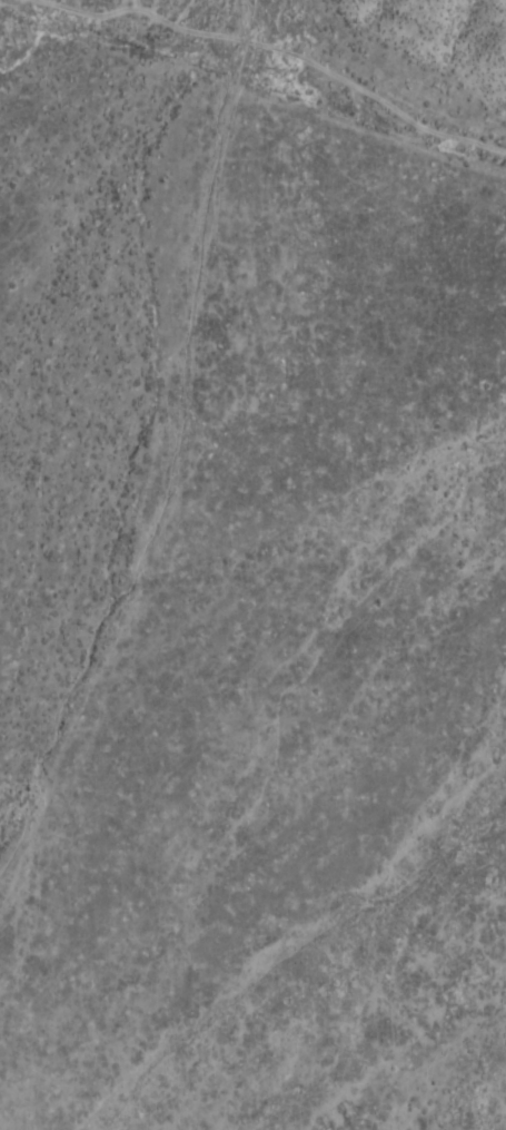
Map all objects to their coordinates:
road: (280, 49)

